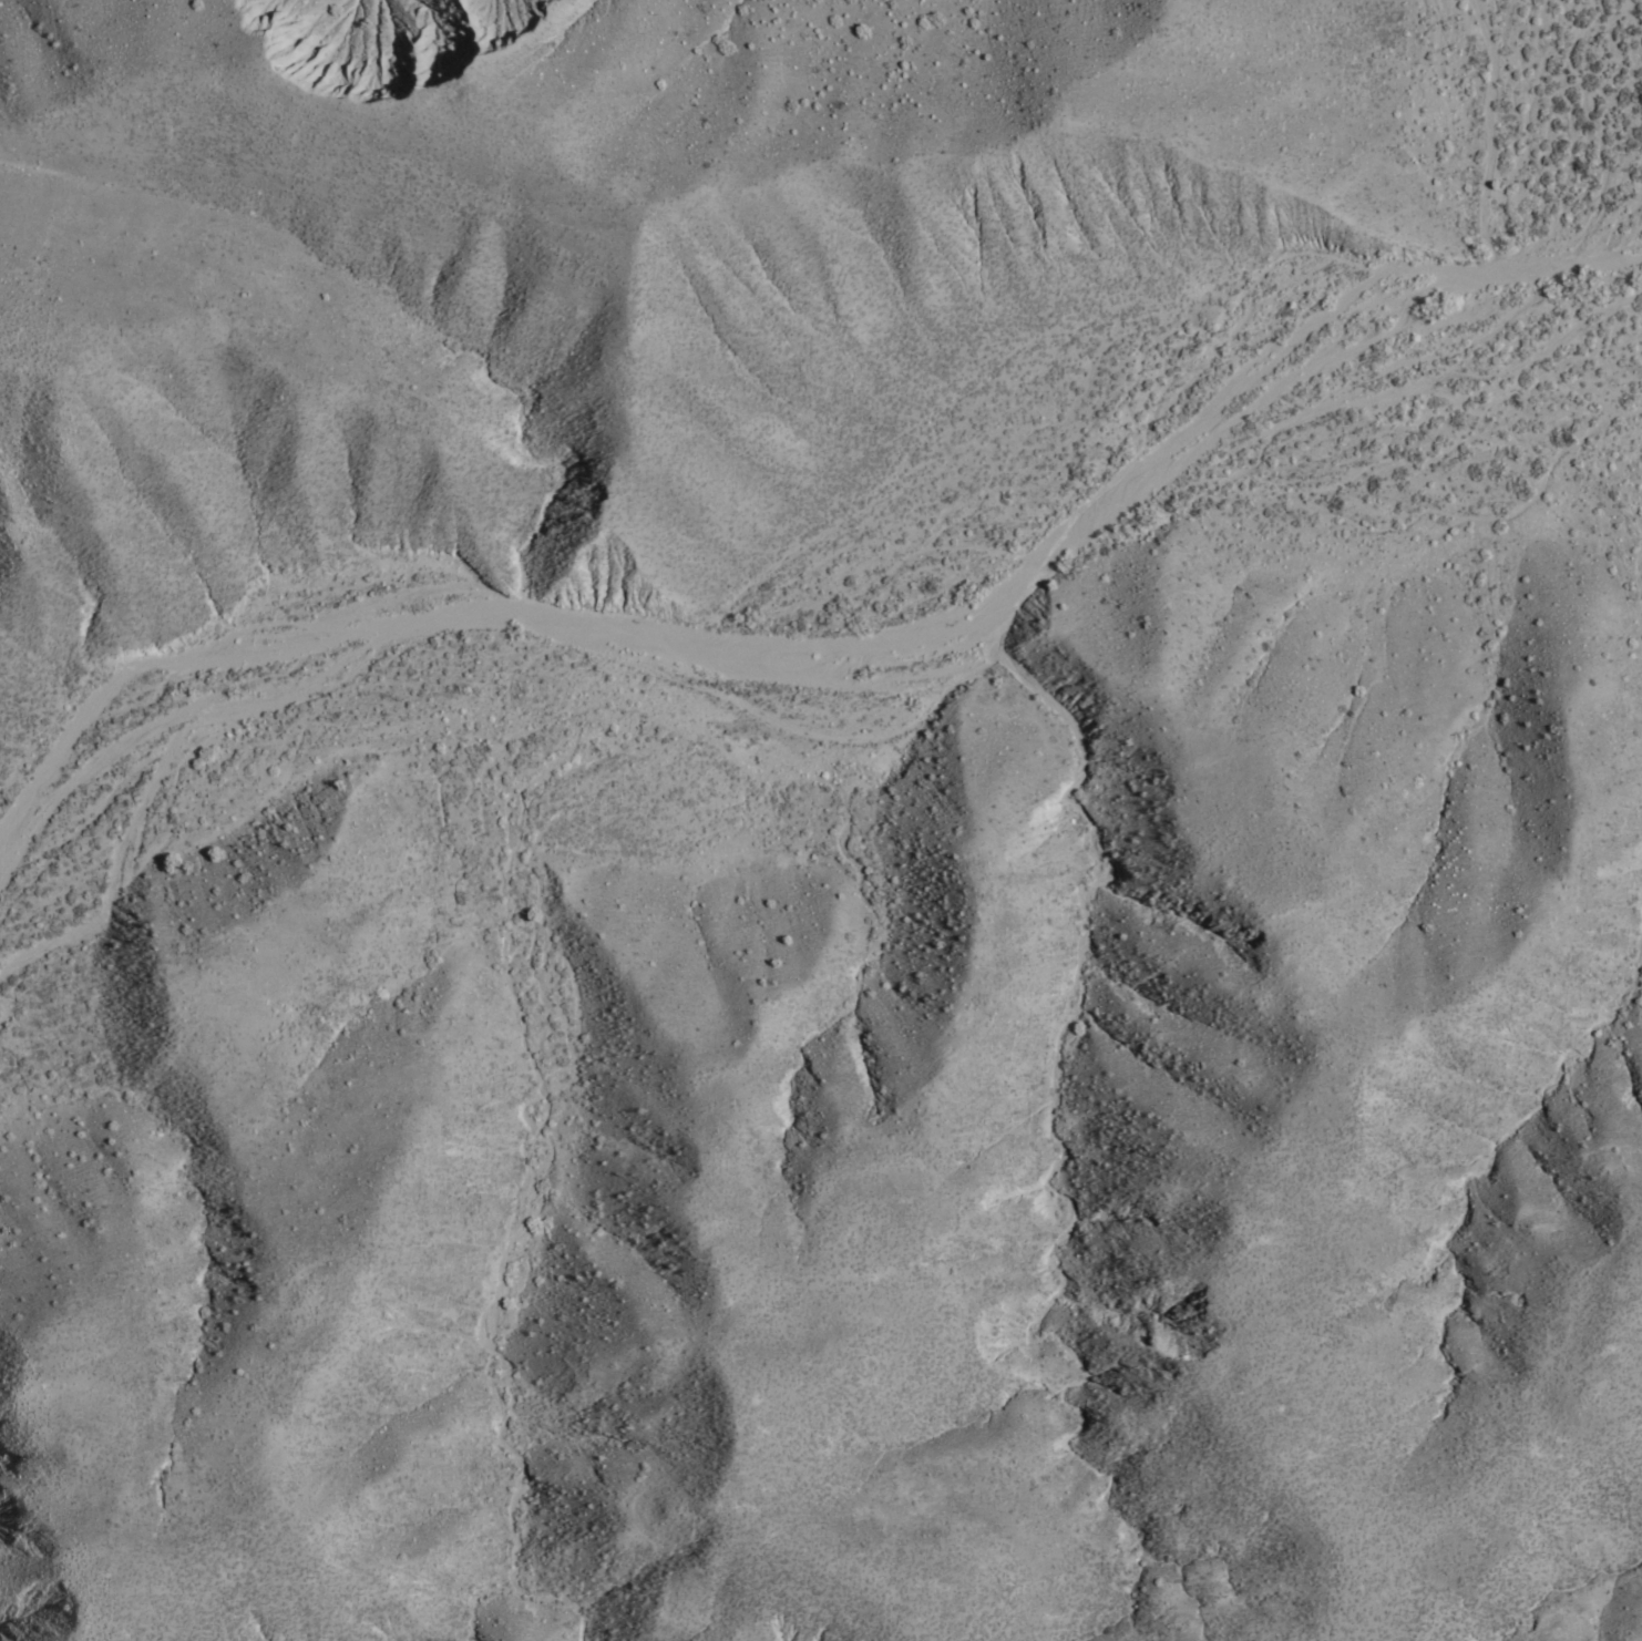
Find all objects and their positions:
road: (1491, 127)

